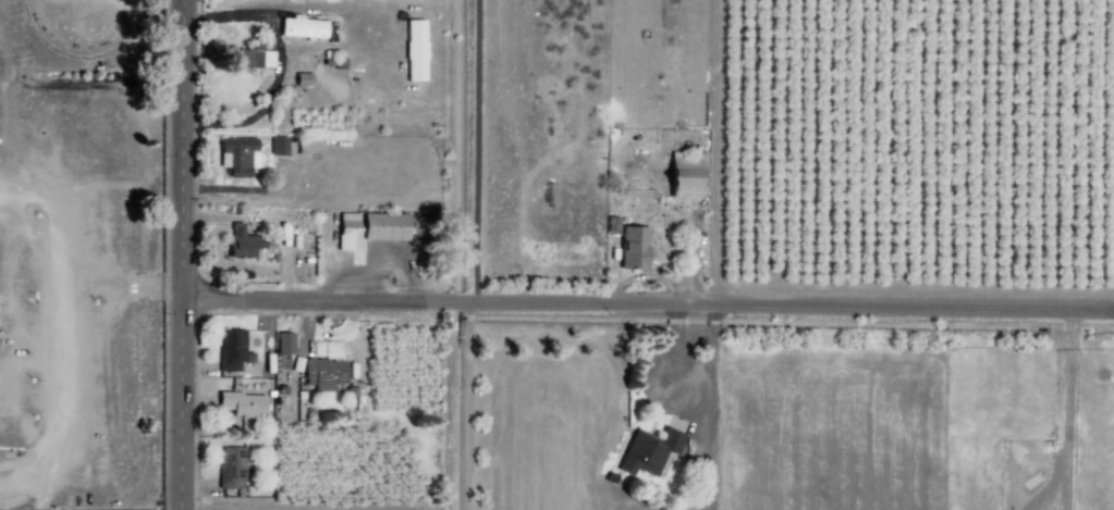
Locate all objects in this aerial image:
building: (299, 26)
building: (414, 50)
railway: (78, 54)
railway: (84, 60)
building: (277, 145)
building: (236, 156)
building: (683, 176)
building: (366, 228)
building: (241, 241)
building: (631, 247)
road: (185, 254)
road: (649, 302)
building: (283, 343)
building: (231, 349)
building: (323, 373)
building: (242, 405)
building: (646, 451)
building: (230, 468)

